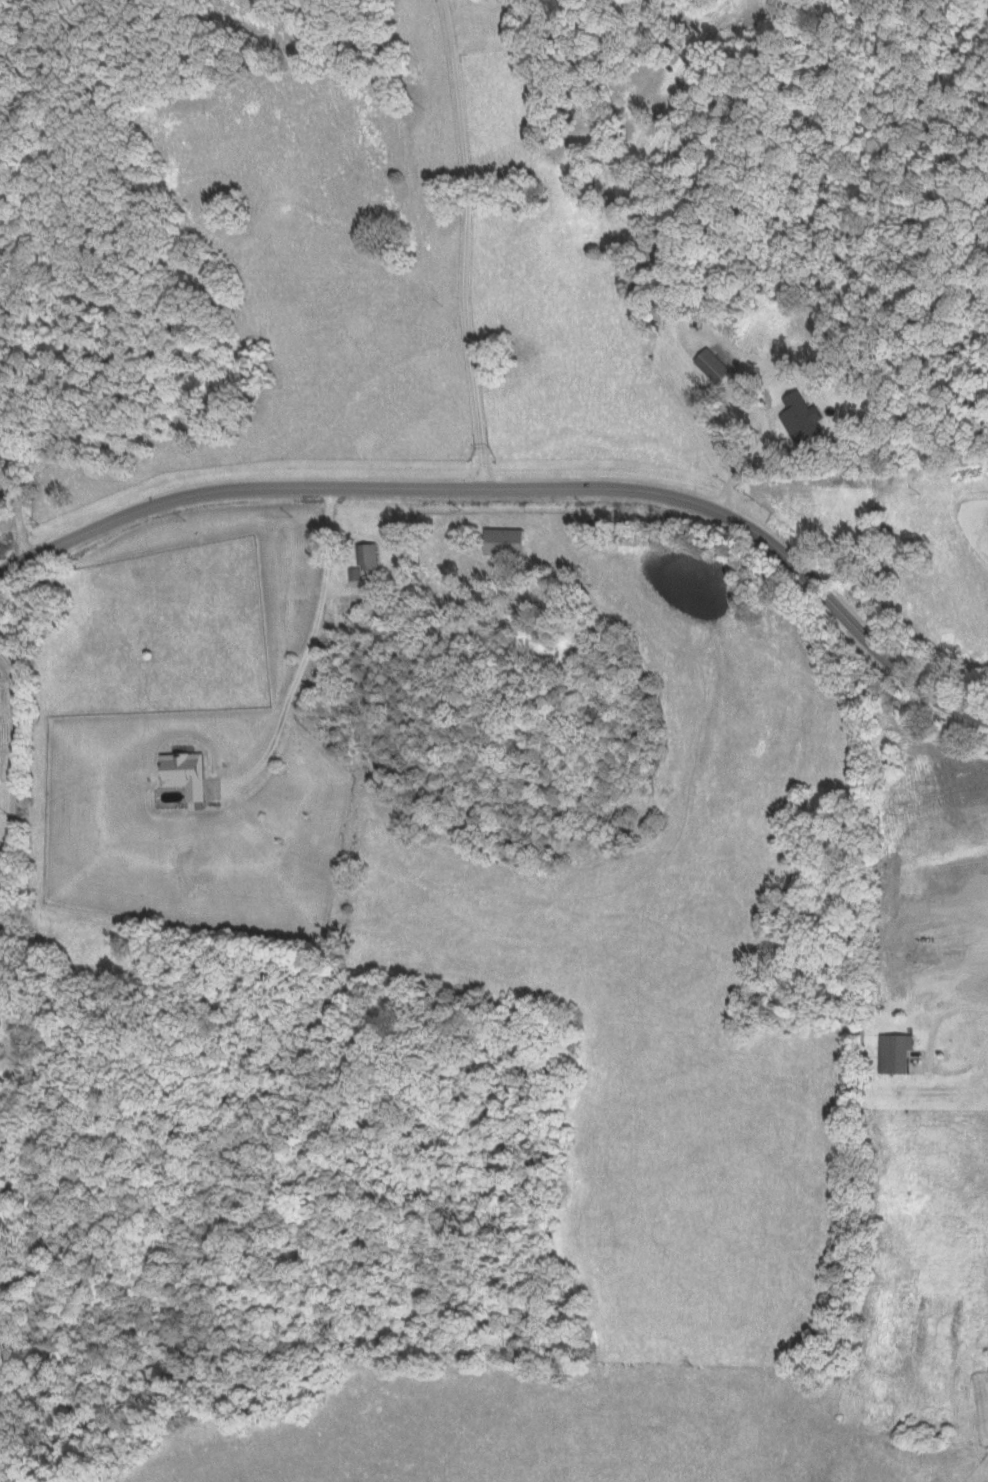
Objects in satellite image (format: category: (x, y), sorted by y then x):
road: (463, 241)
building: (704, 364)
building: (794, 414)
road: (524, 483)
building: (497, 540)
building: (360, 558)
road: (305, 647)
road: (576, 687)
road: (9, 735)
building: (179, 774)
building: (888, 1051)

